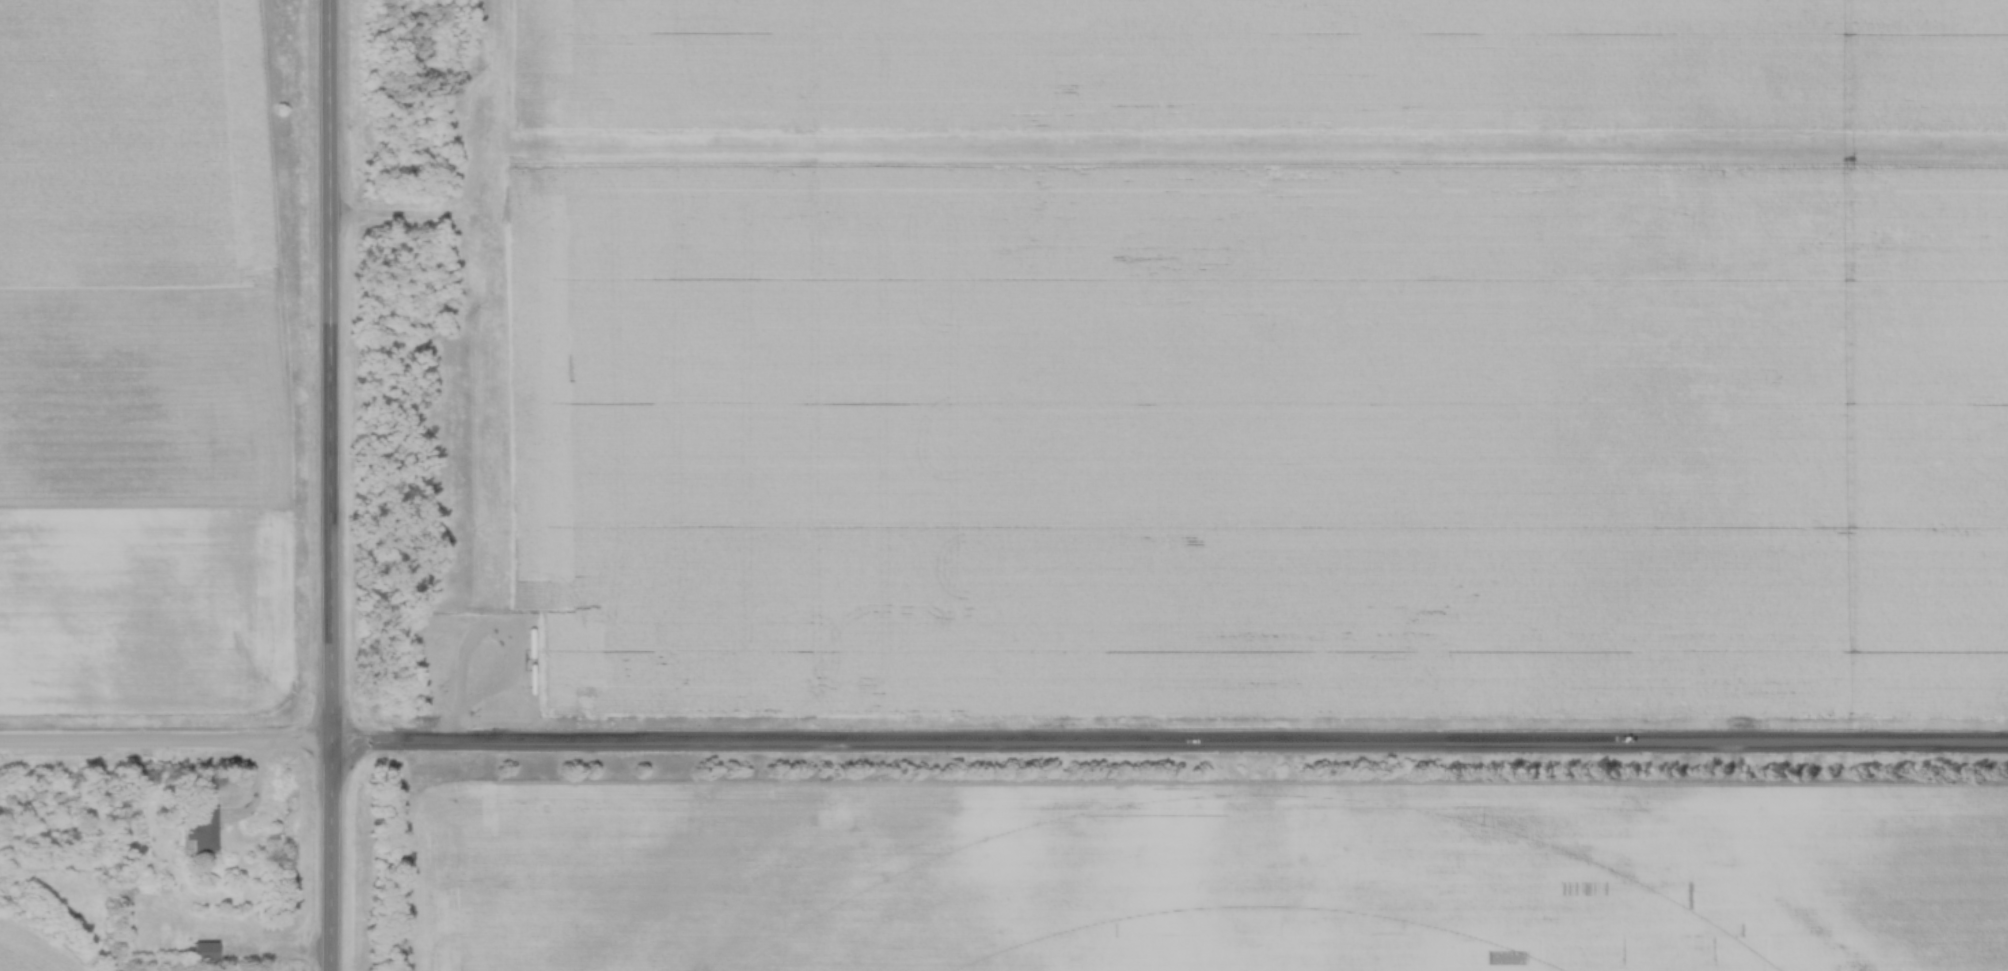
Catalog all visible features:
road: (332, 485)
road: (518, 665)
road: (455, 727)
road: (1169, 744)
road: (166, 745)
building: (199, 829)
building: (202, 952)

